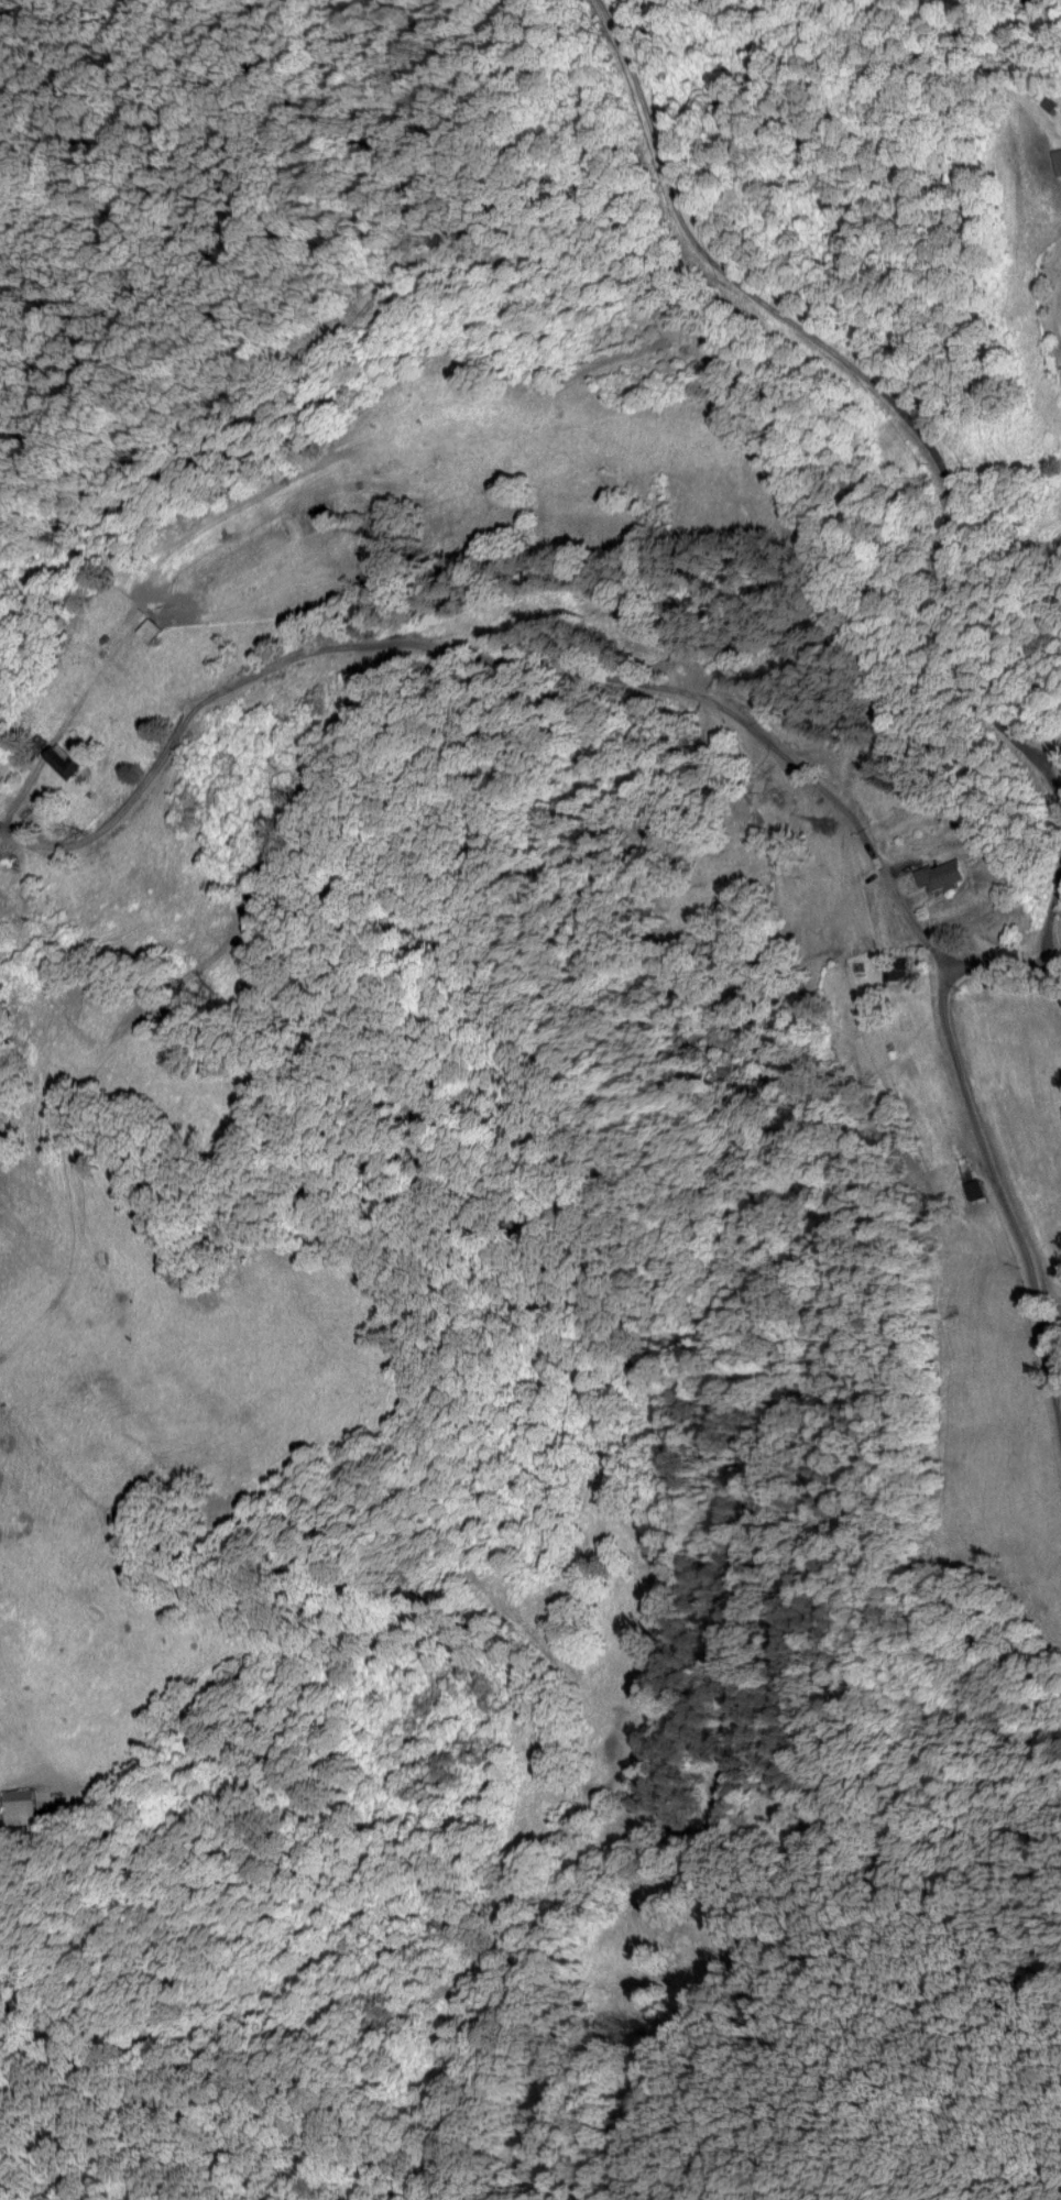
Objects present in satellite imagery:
building: (1052, 102)
building: (1058, 158)
building: (153, 627)
road: (501, 660)
building: (69, 758)
building: (947, 873)
road: (1050, 909)
road: (1008, 957)
building: (901, 968)
building: (977, 1187)
road: (1002, 1193)
road: (1051, 1325)
building: (24, 1804)

